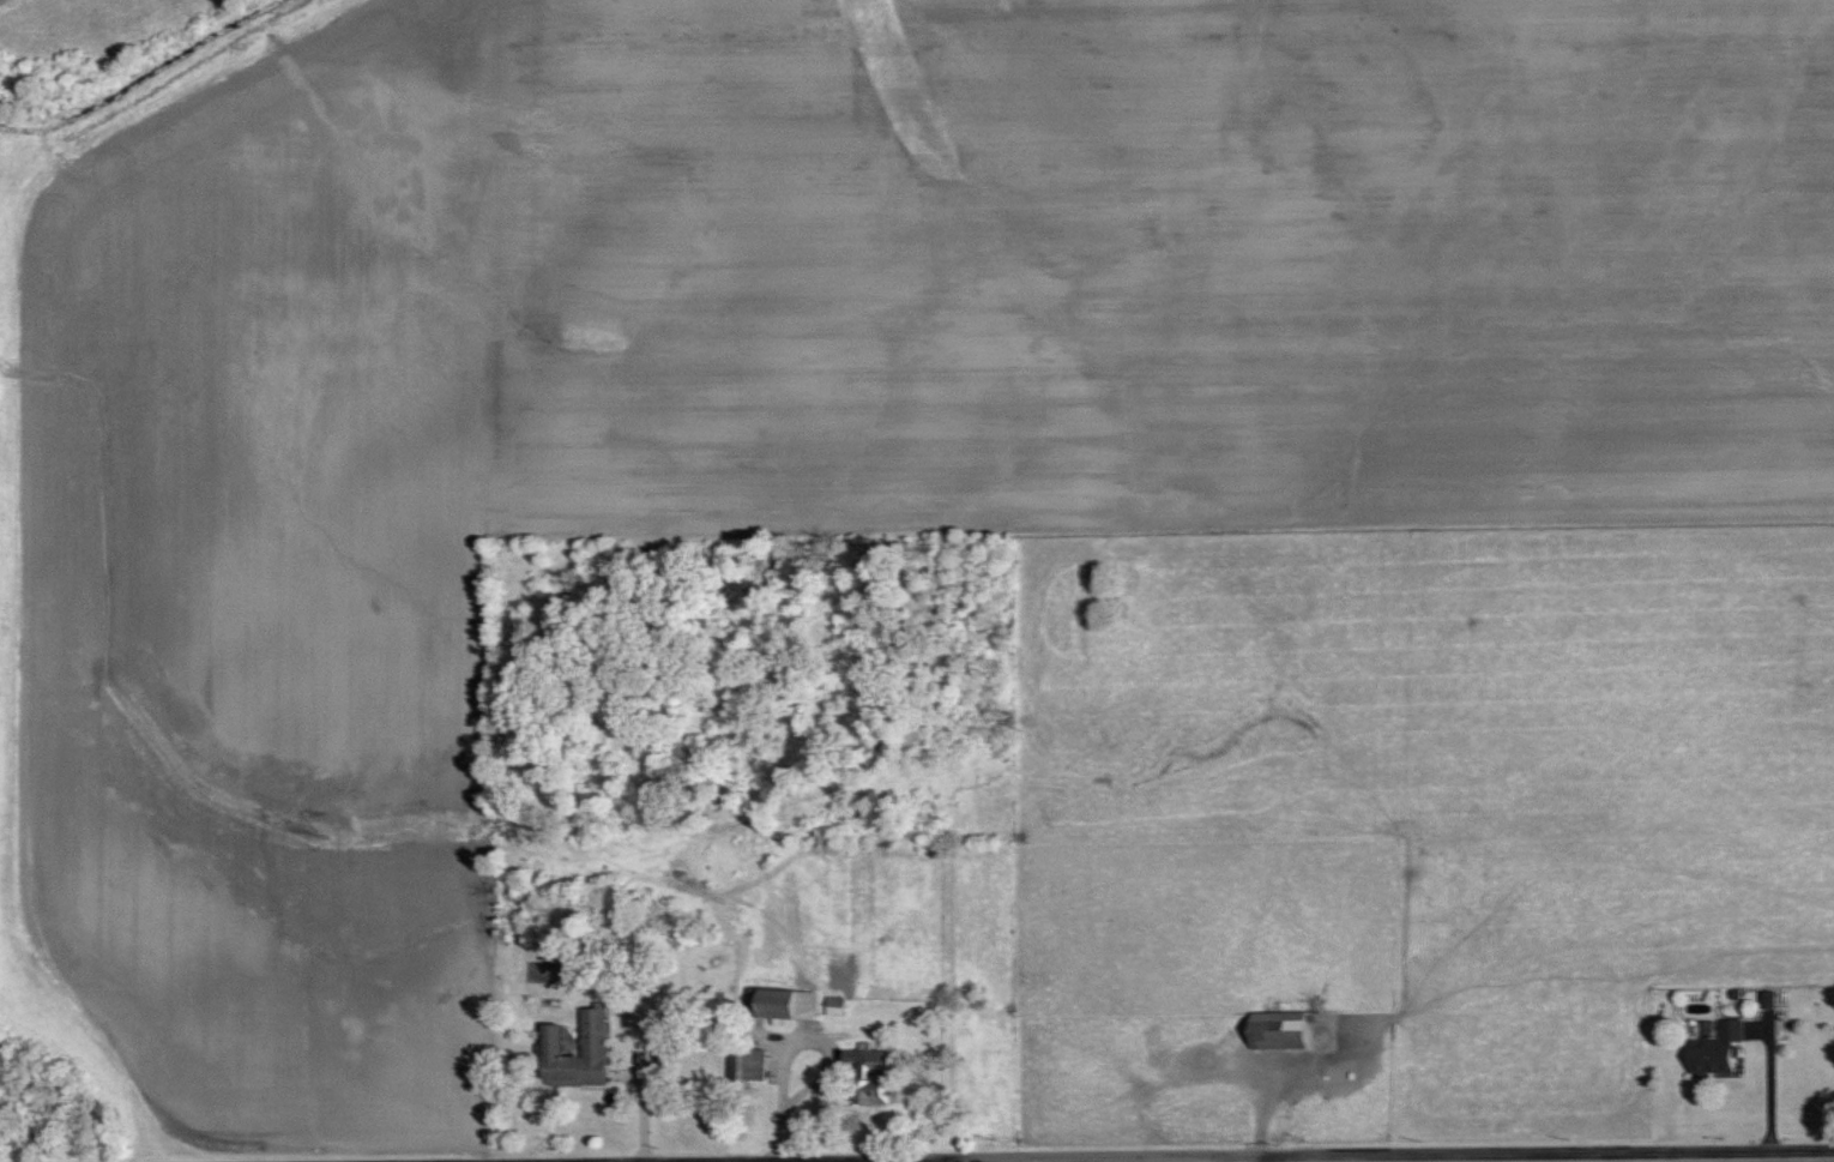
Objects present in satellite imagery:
building: (784, 1003)
building: (837, 1005)
building: (1285, 1030)
building: (597, 1038)
building: (1719, 1044)
building: (873, 1072)
road: (1178, 1150)
road: (1254, 1156)
road: (928, 1158)
road: (658, 1161)

